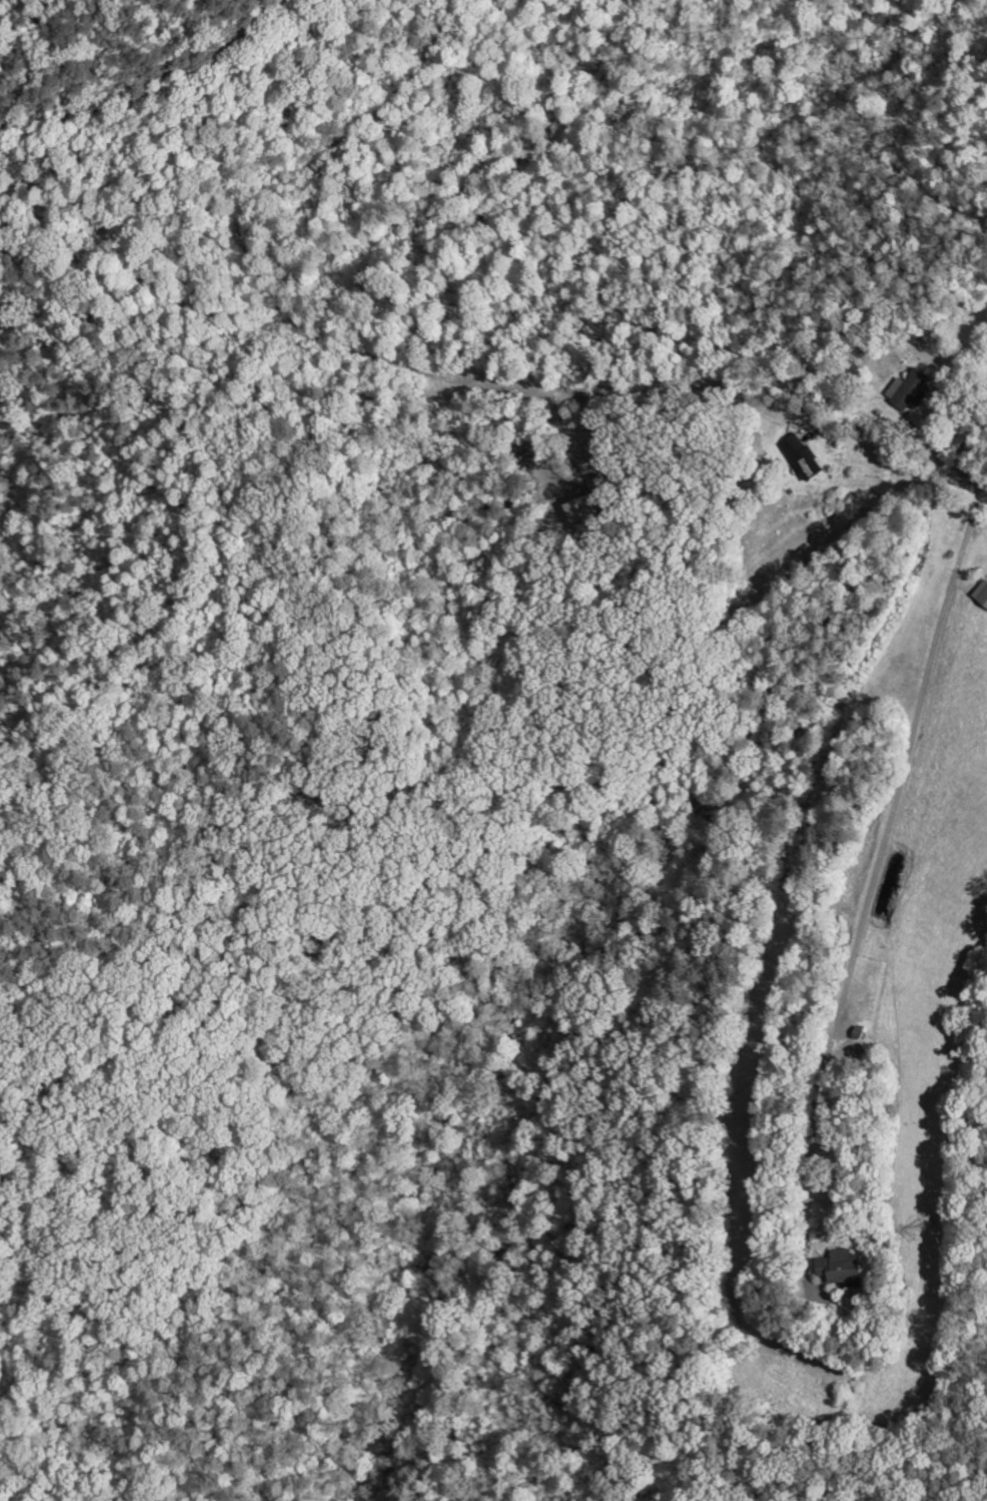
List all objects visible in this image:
building: (909, 391)
road: (978, 428)
building: (801, 458)
road: (968, 471)
building: (579, 511)
building: (982, 595)
building: (841, 1267)

